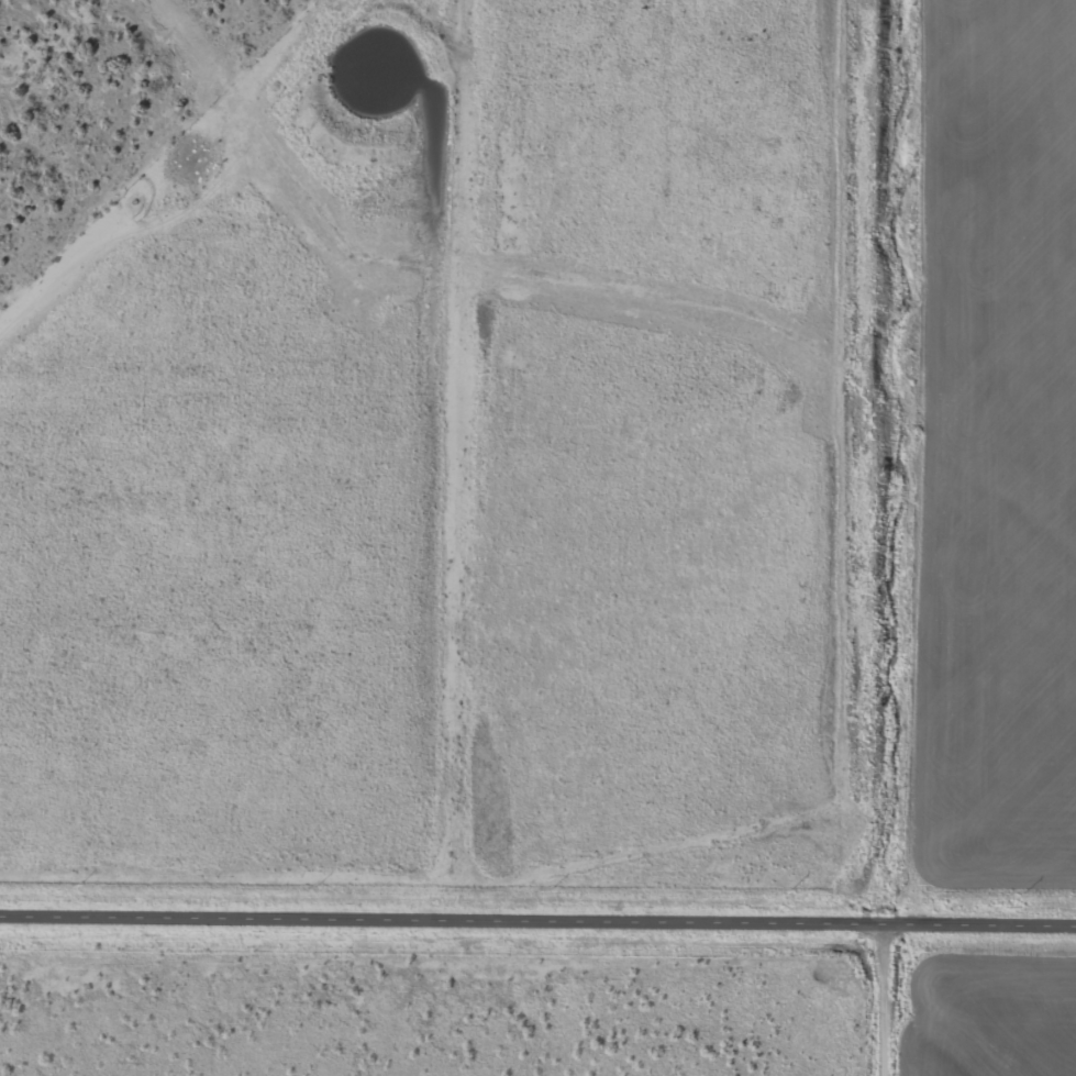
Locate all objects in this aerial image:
road: (537, 922)
road: (887, 1000)

